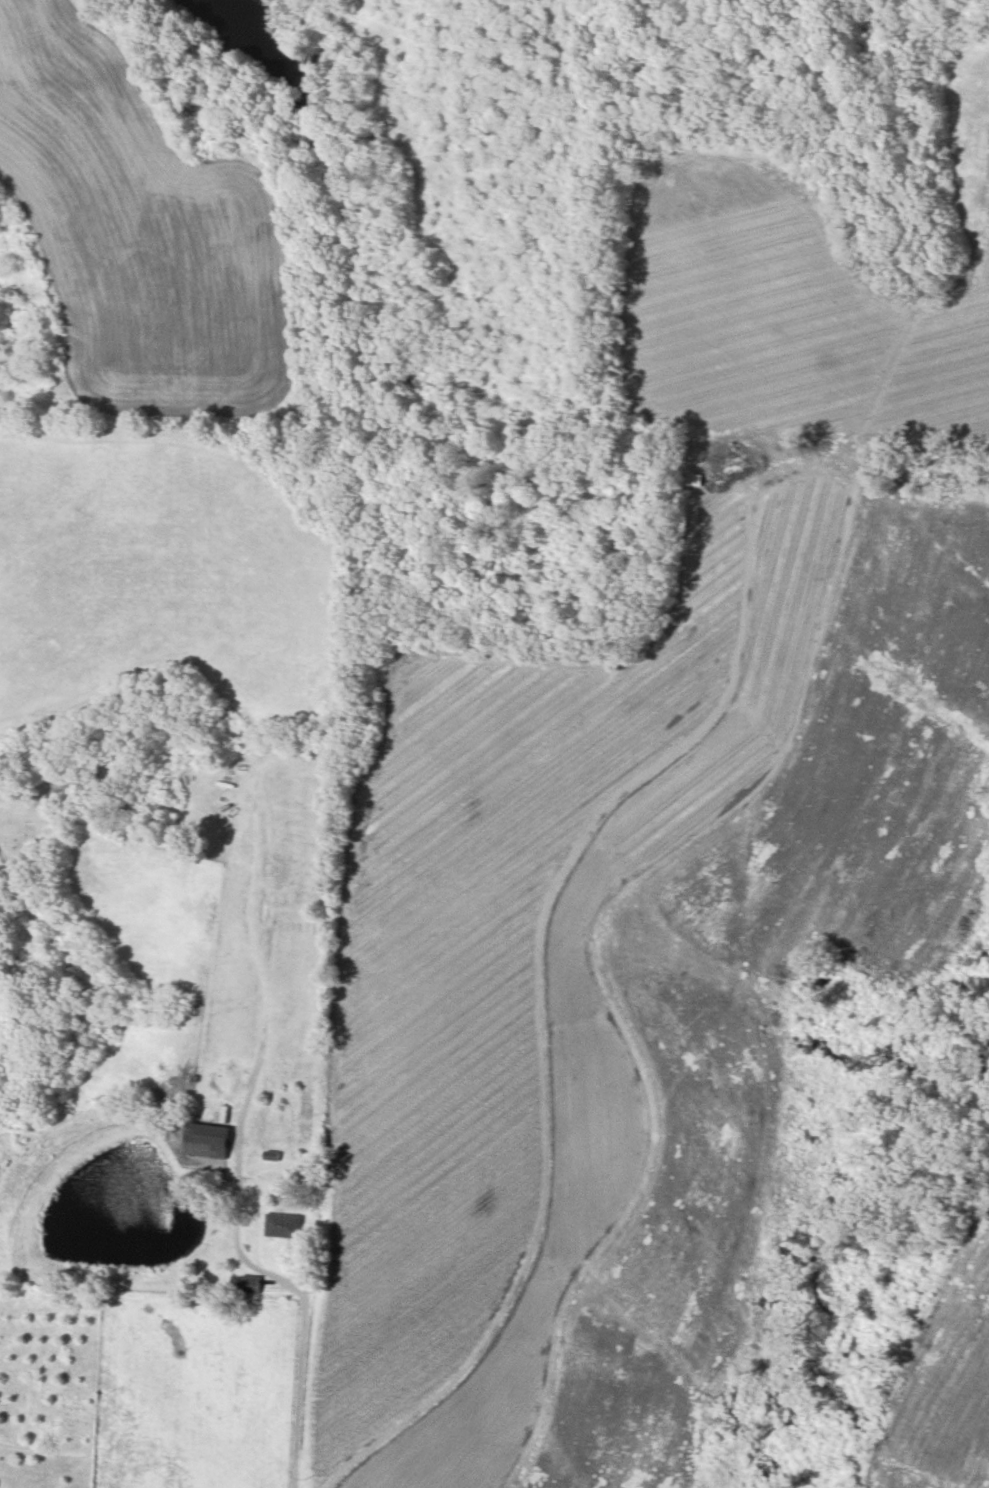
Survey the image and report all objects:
crop: (140, 234)
road: (802, 478)
crop: (155, 569)
crop: (220, 936)
crop: (3, 998)
building: (208, 1140)
crop: (35, 1171)
building: (284, 1225)
building: (249, 1283)
road: (298, 1292)
crop: (143, 1377)

